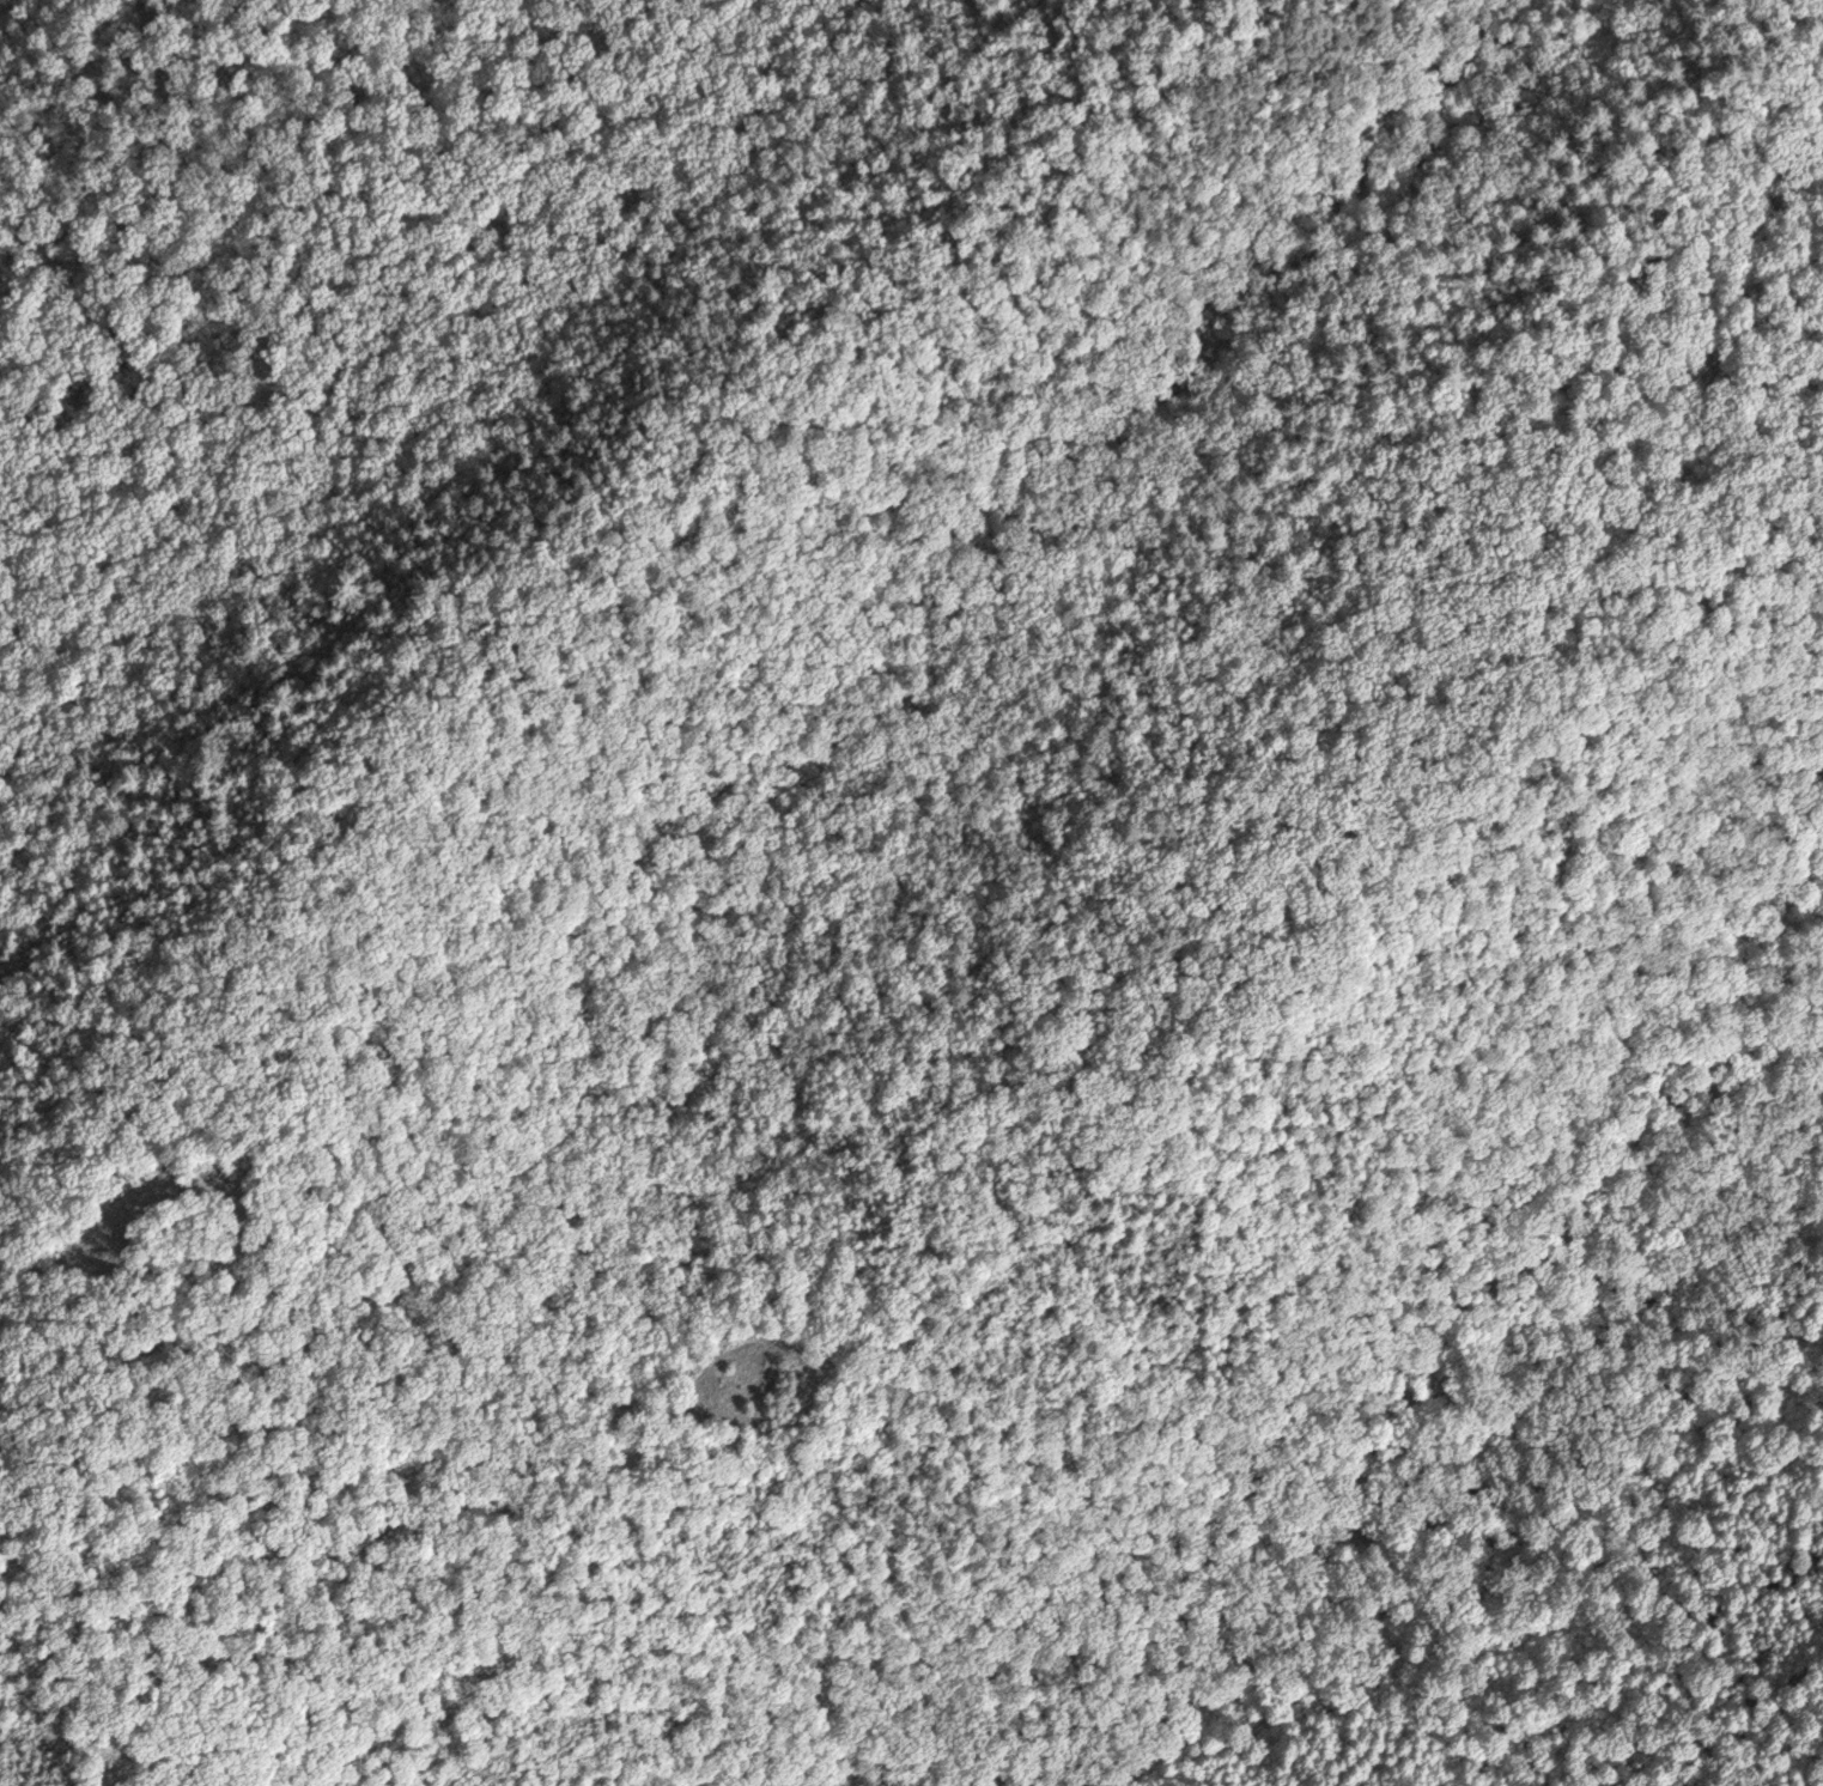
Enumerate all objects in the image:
road: (767, 29)
road: (530, 612)

